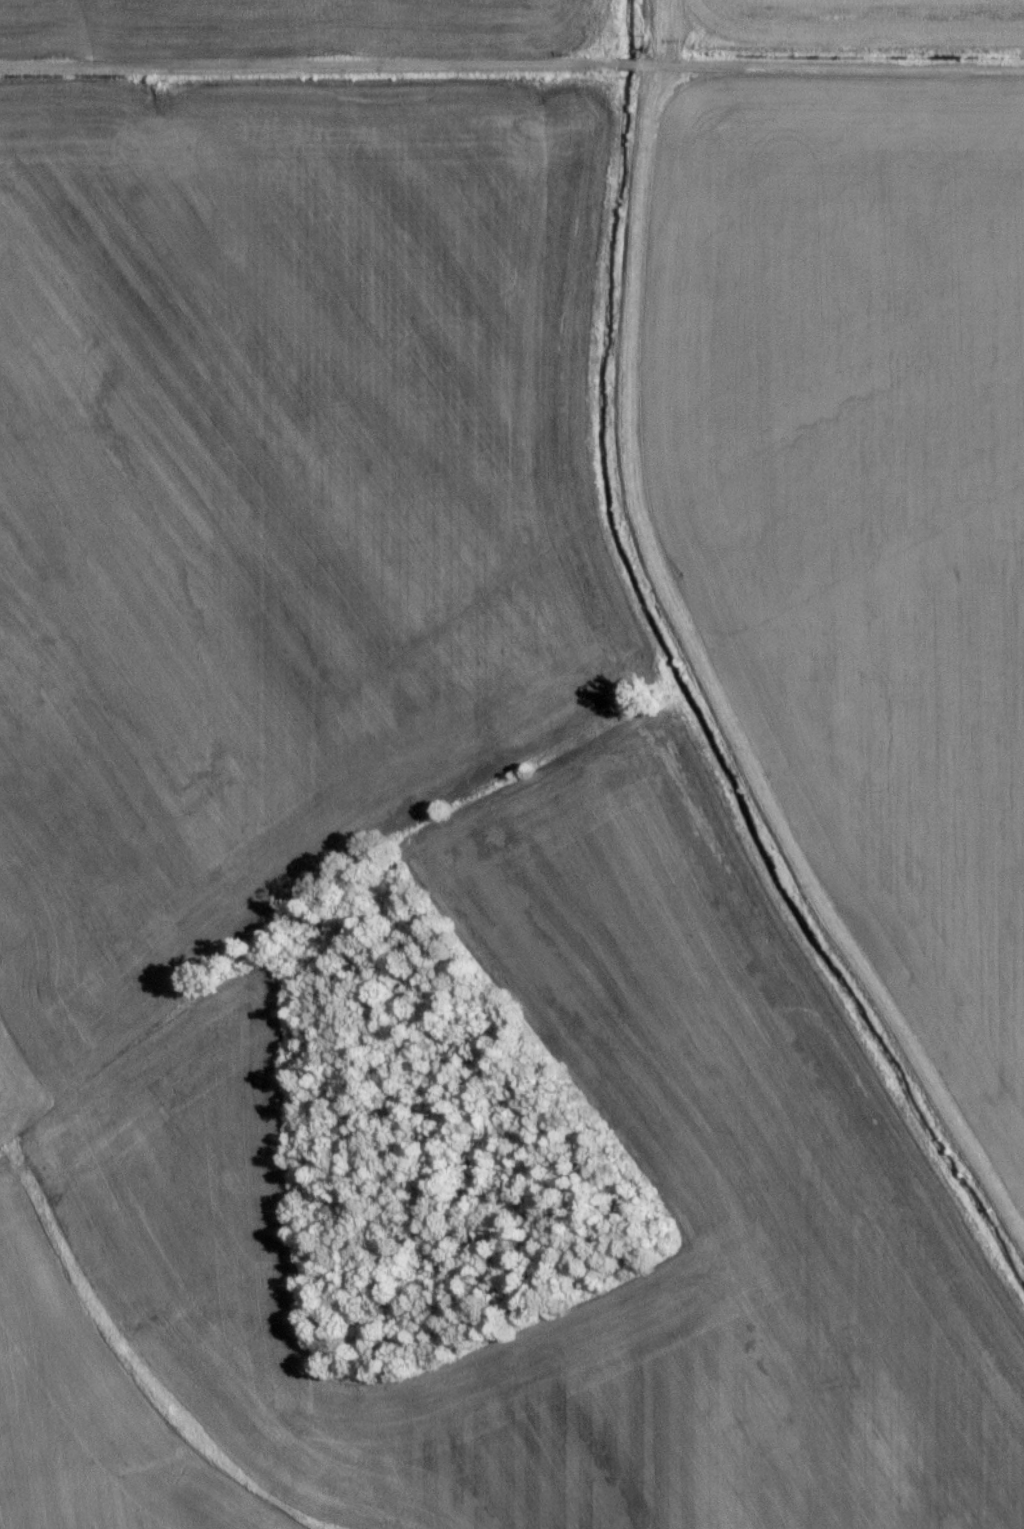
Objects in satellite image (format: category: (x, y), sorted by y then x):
road: (672, 35)
road: (306, 67)
road: (630, 67)
road: (835, 75)

